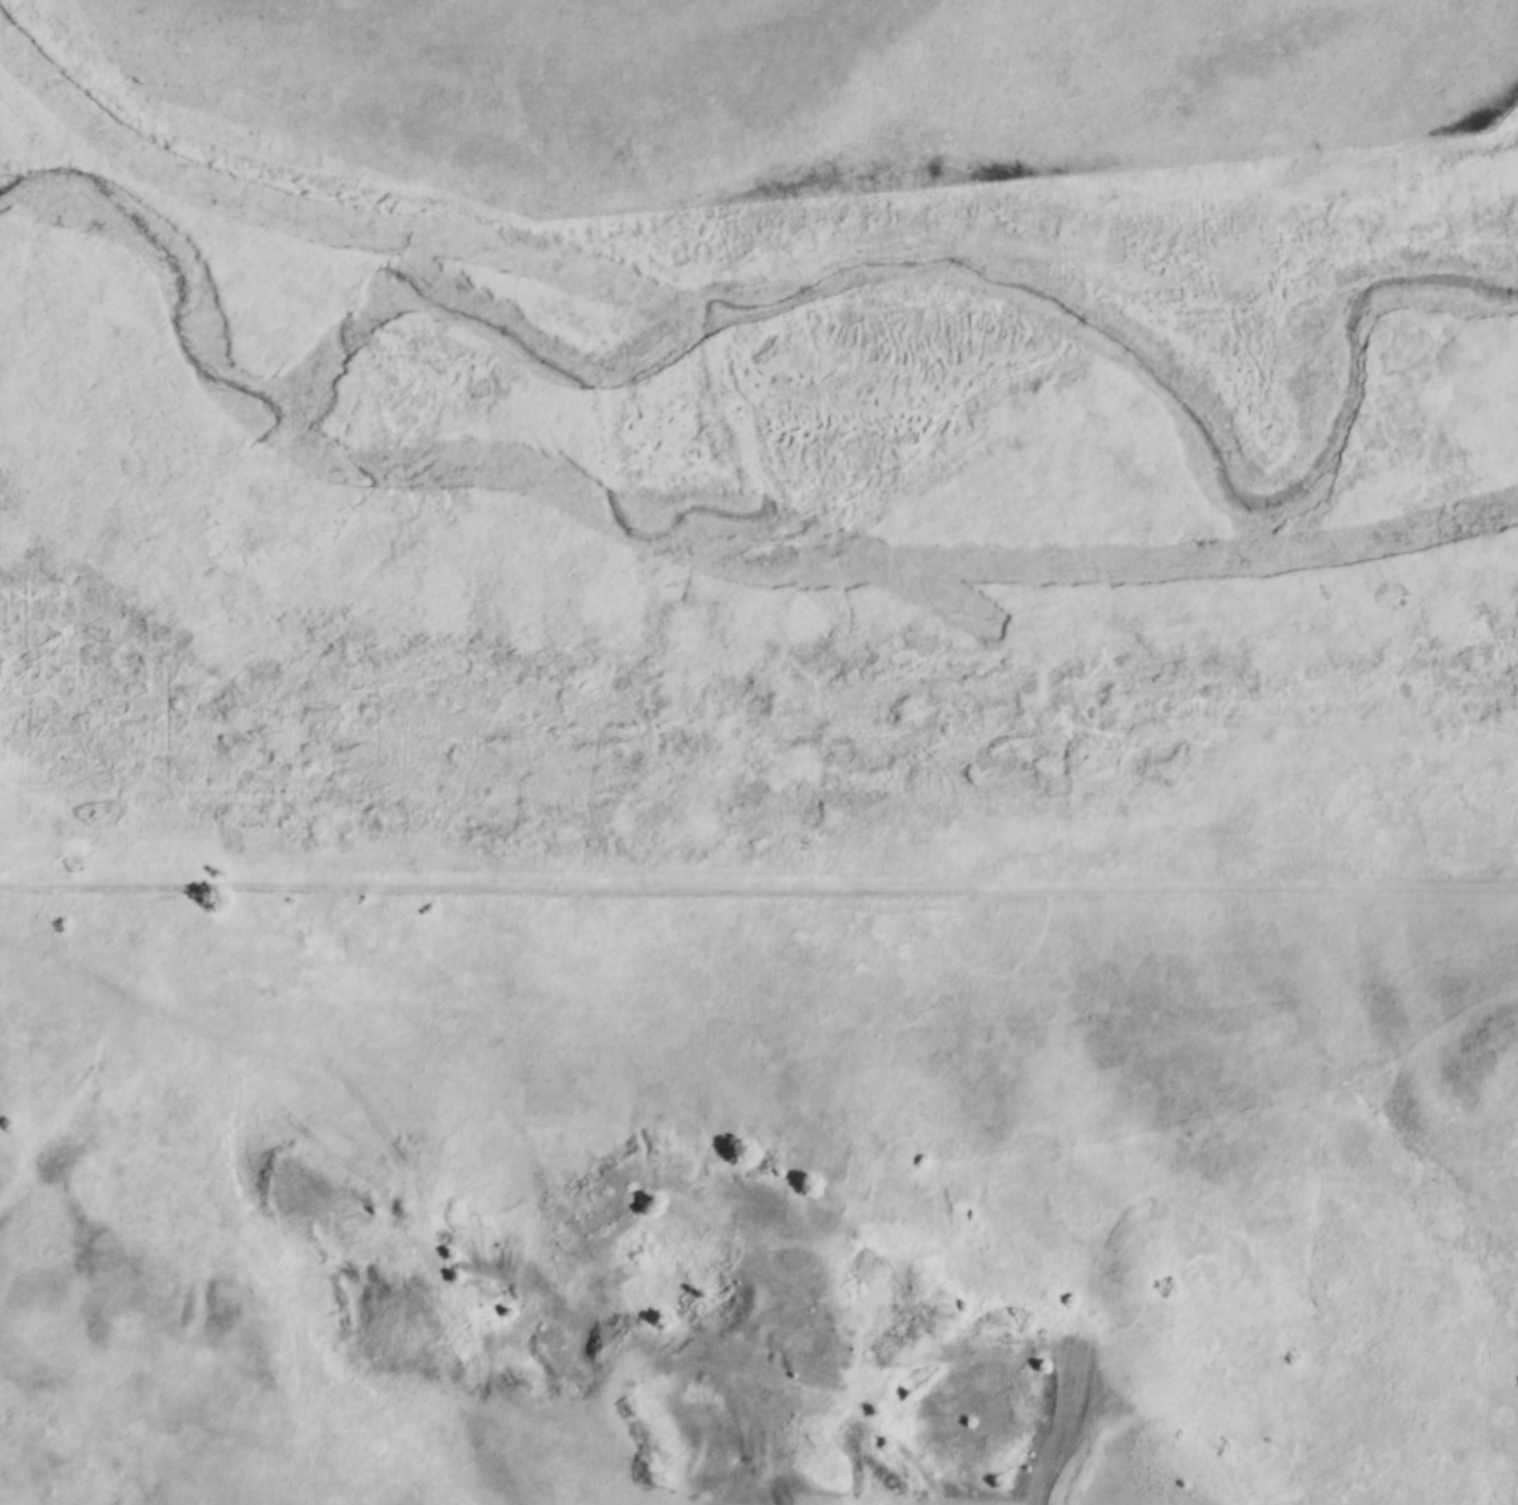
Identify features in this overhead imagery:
river: (668, 549)
road: (759, 889)

